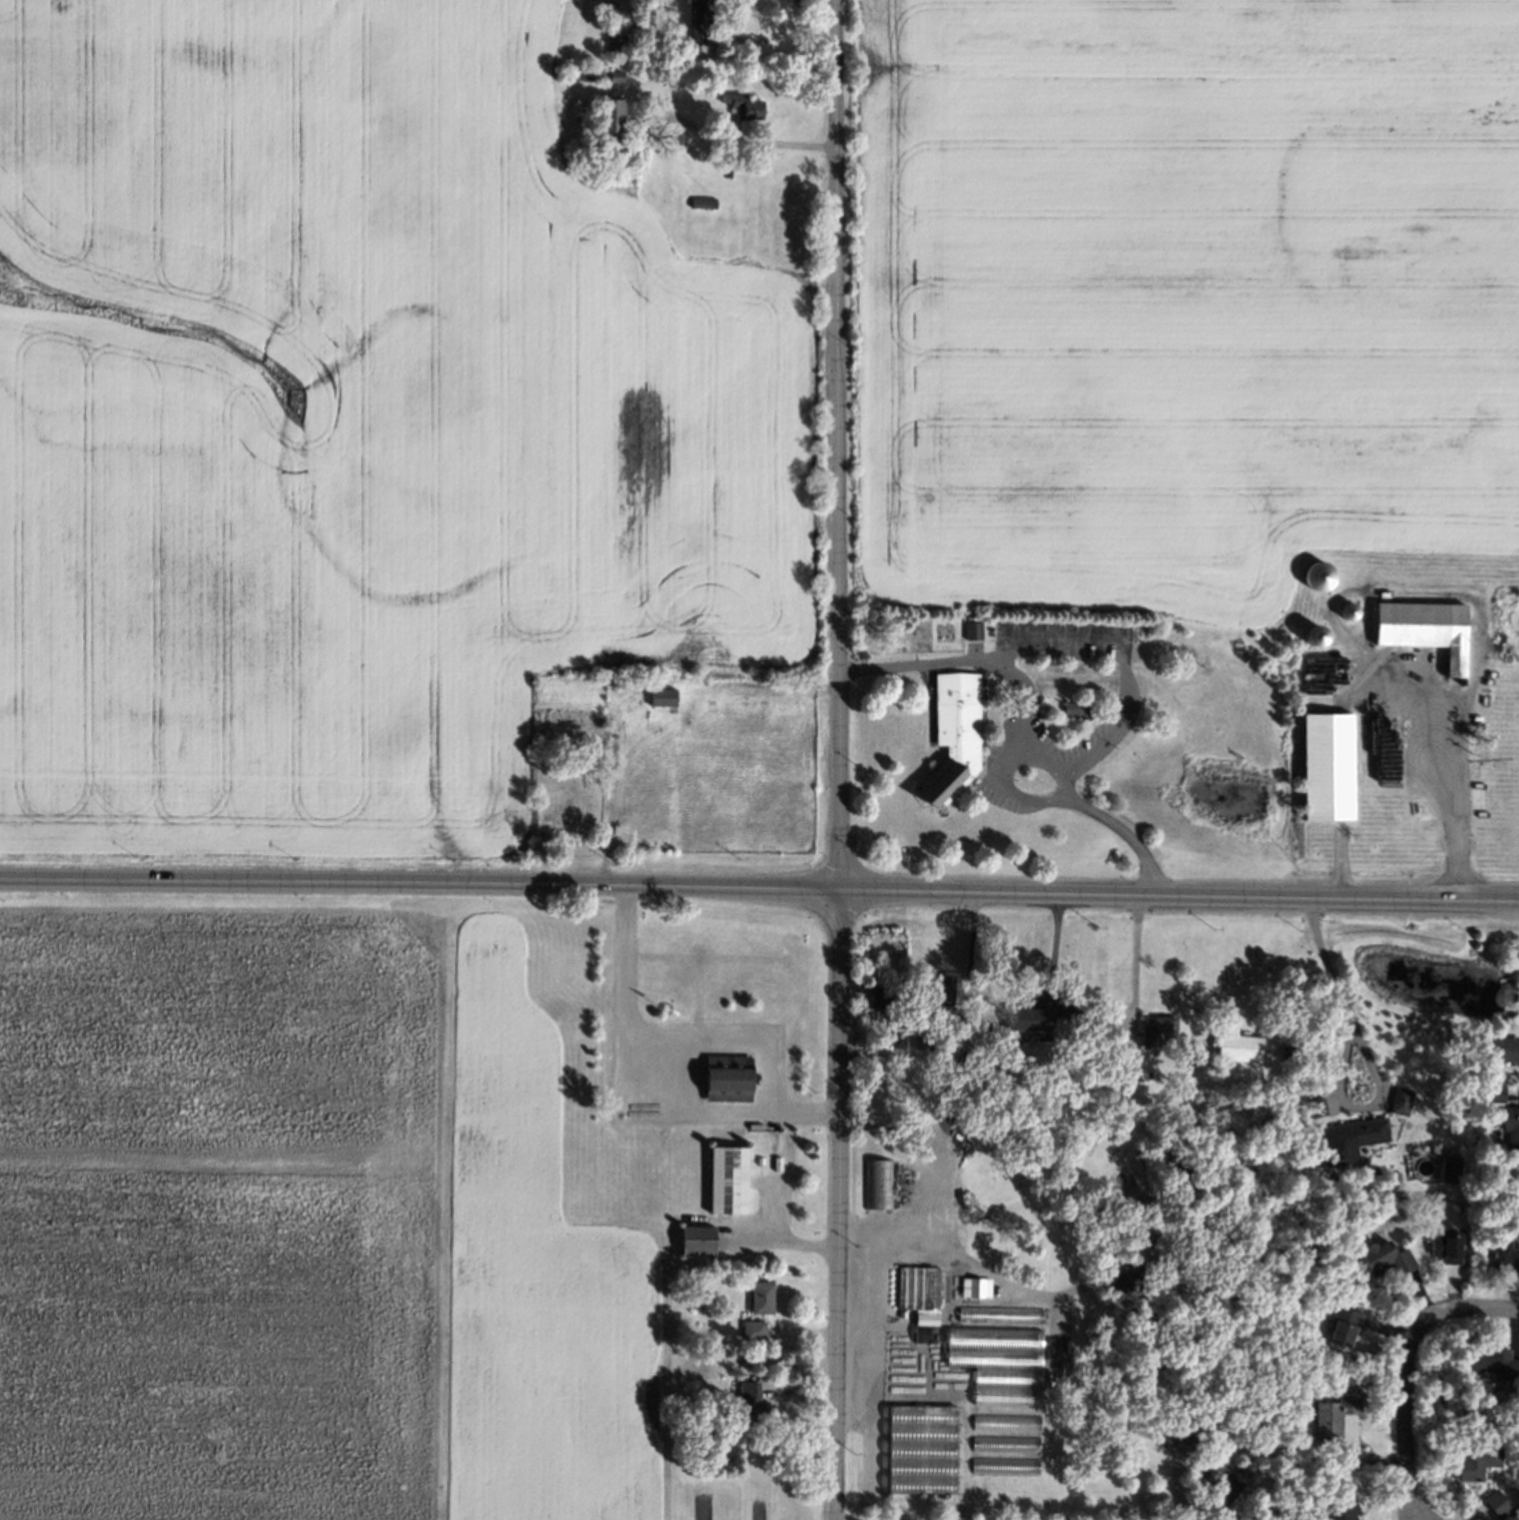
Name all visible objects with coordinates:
building: (694, 19)
building: (612, 45)
building: (588, 72)
building: (739, 104)
building: (607, 120)
building: (637, 130)
road: (748, 139)
building: (698, 202)
building: (1316, 583)
building: (1345, 617)
building: (968, 627)
building: (1424, 633)
road: (1075, 641)
building: (1312, 646)
building: (606, 682)
road: (1113, 683)
building: (659, 696)
building: (1074, 708)
building: (953, 736)
road: (838, 760)
building: (1325, 768)
road: (1442, 783)
road: (311, 882)
road: (1071, 891)
road: (969, 943)
road: (1053, 943)
road: (1135, 957)
building: (939, 990)
road: (1334, 991)
building: (1088, 1009)
building: (882, 1013)
building: (1033, 1022)
building: (1158, 1029)
road: (730, 1036)
building: (924, 1040)
building: (1502, 1049)
building: (1239, 1050)
building: (1289, 1051)
building: (1130, 1059)
building: (726, 1079)
building: (1402, 1093)
building: (1494, 1095)
road: (623, 1105)
building: (1314, 1108)
building: (1510, 1130)
road: (937, 1140)
building: (1353, 1140)
road: (896, 1151)
building: (1453, 1165)
building: (726, 1181)
building: (877, 1186)
building: (905, 1197)
road: (779, 1205)
building: (1206, 1209)
building: (1205, 1225)
building: (695, 1242)
building: (1447, 1250)
building: (1387, 1261)
building: (1505, 1262)
road: (993, 1273)
building: (691, 1277)
building: (916, 1287)
building: (978, 1290)
building: (762, 1299)
road: (1472, 1308)
building: (903, 1315)
building: (1344, 1328)
building: (753, 1332)
building: (997, 1364)
building: (1495, 1365)
building: (702, 1370)
road: (903, 1371)
building: (749, 1407)
road: (1405, 1416)
building: (1335, 1418)
building: (1005, 1423)
building: (1188, 1433)
building: (1004, 1446)
building: (919, 1450)
building: (1477, 1464)
building: (1004, 1467)
building: (1219, 1479)
building: (1499, 1505)
building: (1342, 1509)

